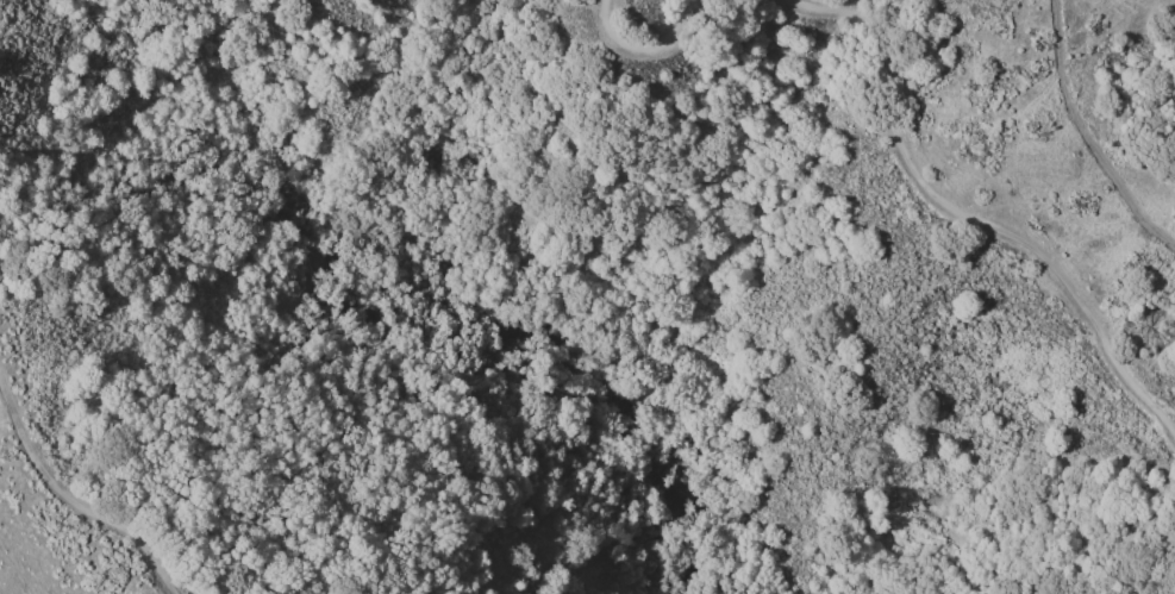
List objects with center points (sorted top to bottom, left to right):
road: (648, 50)
road: (955, 212)
road: (68, 502)

